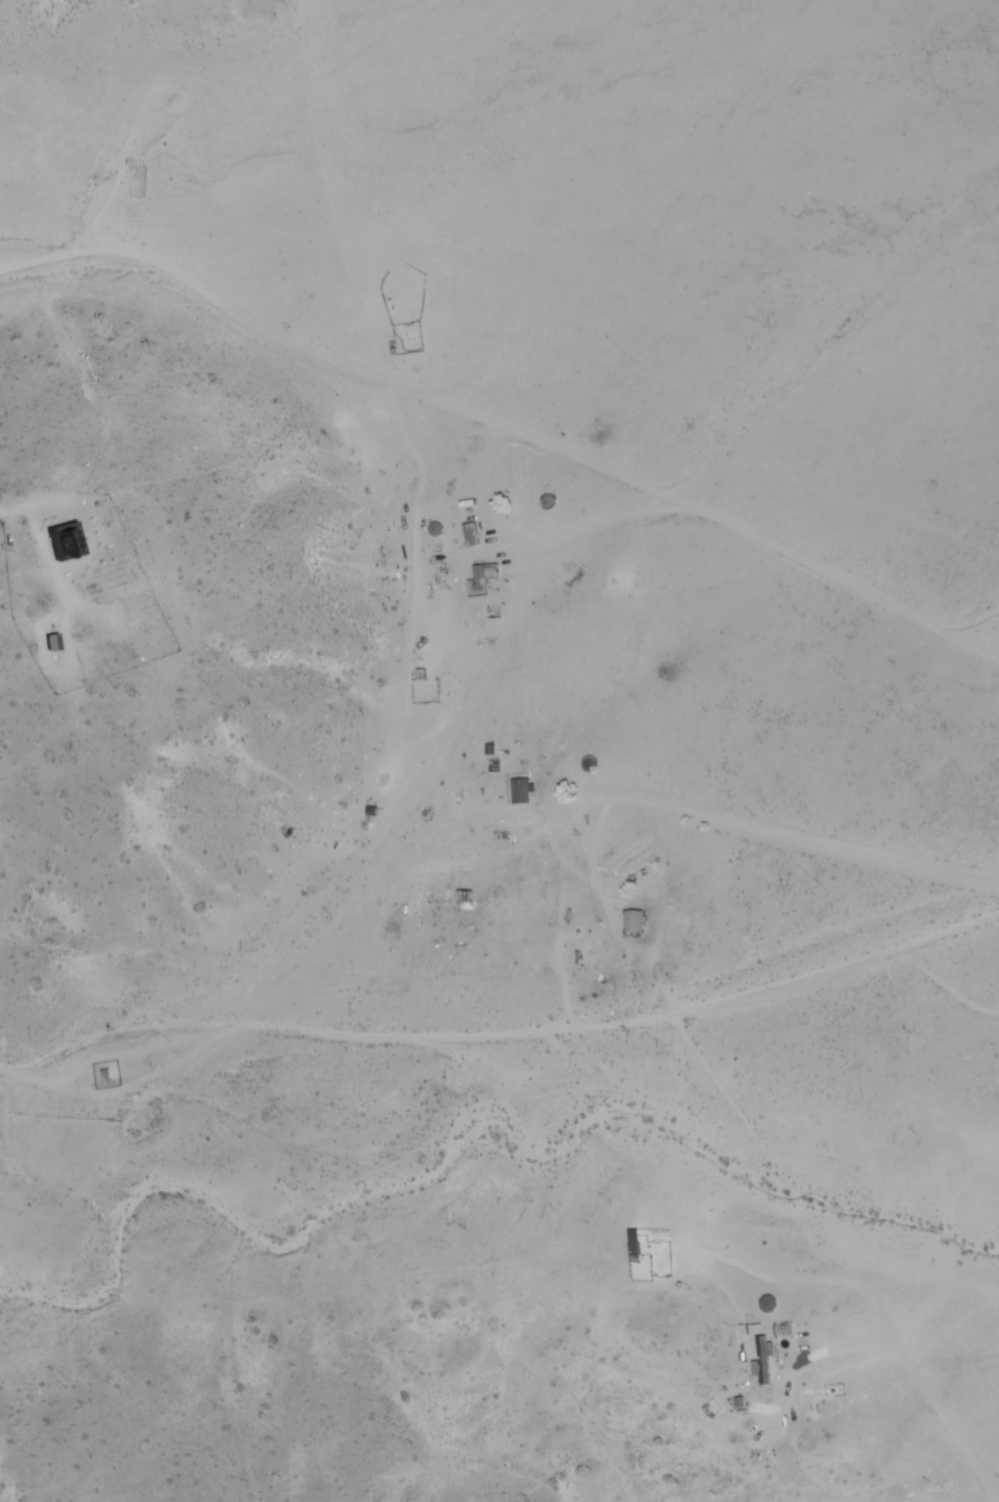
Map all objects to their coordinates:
road: (32, 244)
road: (505, 420)
building: (471, 534)
building: (68, 540)
building: (482, 578)
road: (416, 748)
building: (521, 790)
building: (466, 896)
building: (633, 923)
road: (501, 1031)
building: (633, 1245)
road: (839, 1256)
building: (769, 1303)
building: (763, 1359)

